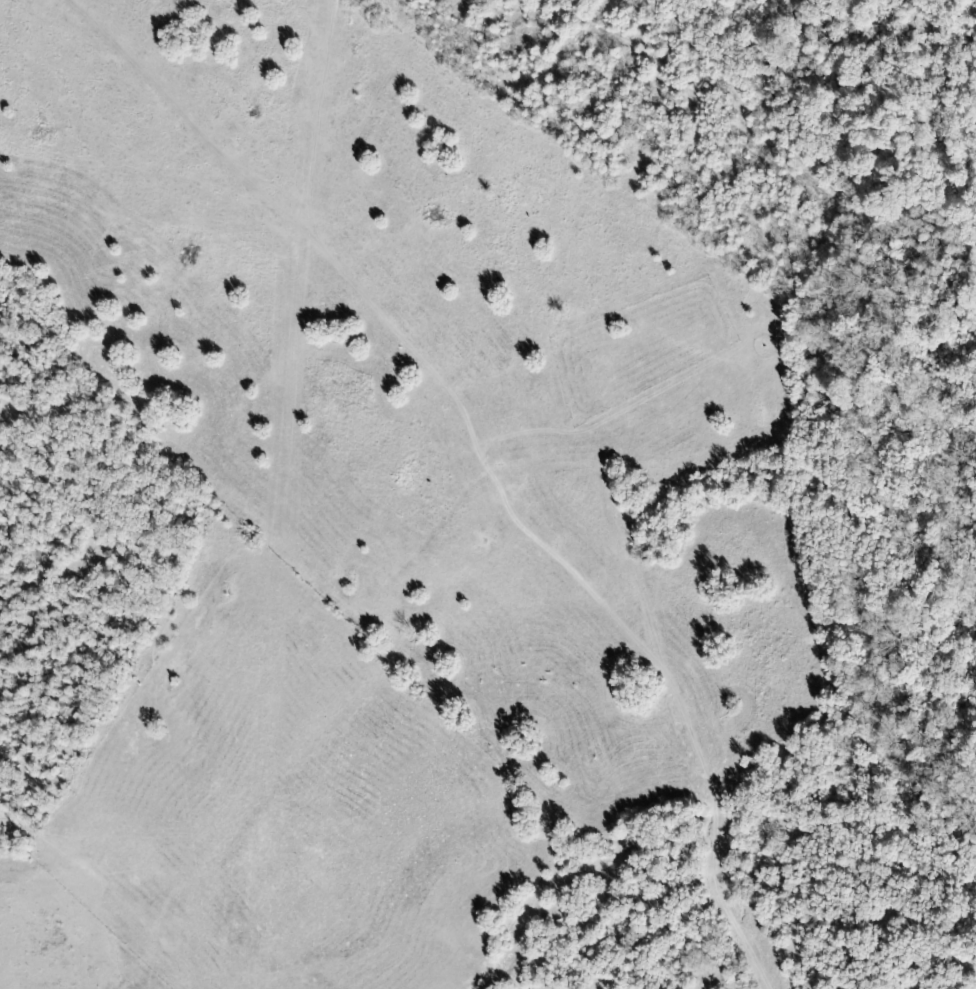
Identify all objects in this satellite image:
road: (480, 457)

